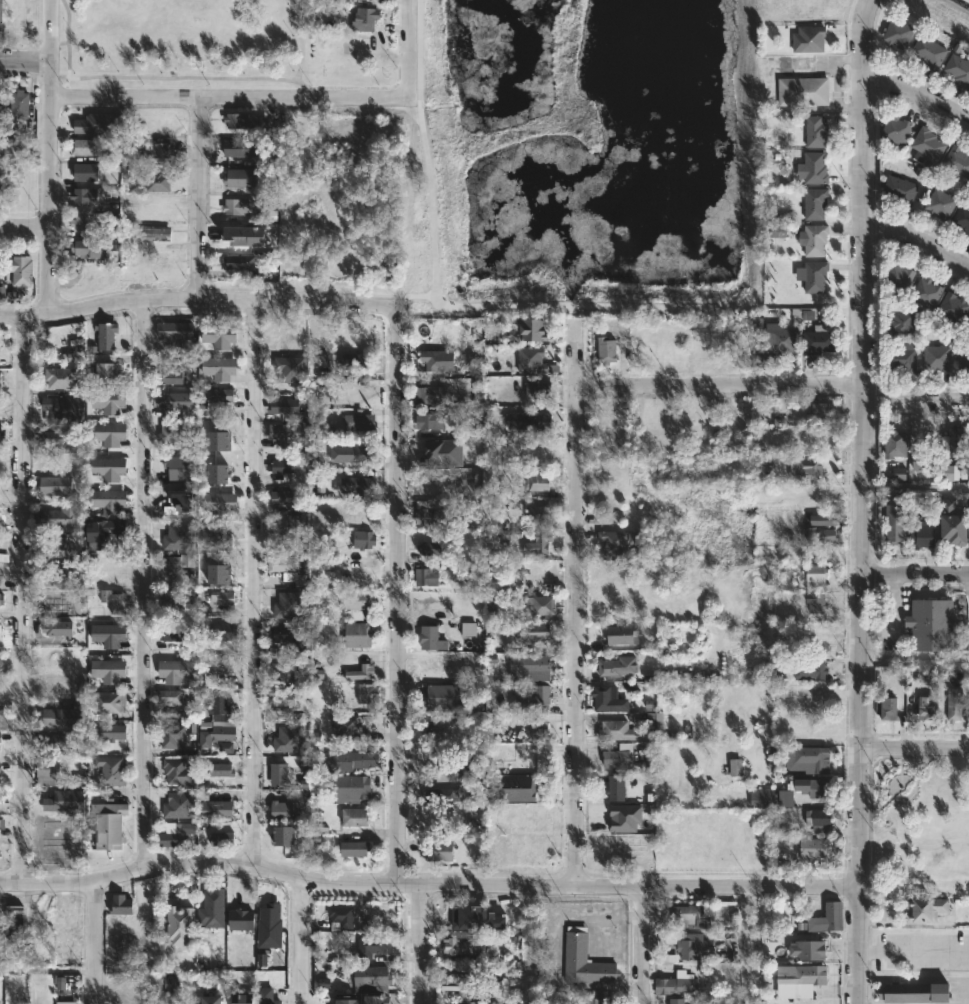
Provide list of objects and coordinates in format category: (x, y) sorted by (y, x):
building: (0, 16)
building: (17, 18)
building: (365, 18)
building: (899, 33)
building: (809, 38)
park: (187, 45)
road: (409, 48)
building: (930, 51)
road: (26, 60)
building: (959, 69)
building: (803, 91)
road: (230, 96)
road: (919, 97)
building: (19, 104)
building: (1, 110)
building: (89, 122)
building: (245, 124)
building: (897, 129)
building: (816, 131)
building: (927, 145)
building: (87, 147)
building: (241, 148)
building: (159, 151)
road: (50, 156)
building: (958, 160)
building: (813, 168)
building: (85, 172)
building: (243, 180)
building: (158, 181)
building: (901, 190)
road: (197, 197)
building: (83, 198)
building: (815, 203)
building: (940, 203)
building: (236, 206)
building: (962, 218)
building: (81, 223)
road: (24, 225)
building: (775, 230)
building: (156, 233)
building: (968, 234)
building: (244, 236)
building: (815, 239)
road: (916, 243)
building: (87, 248)
building: (238, 262)
building: (20, 270)
building: (815, 276)
building: (898, 276)
building: (927, 292)
building: (2, 294)
road: (198, 298)
building: (953, 307)
building: (807, 314)
building: (903, 320)
building: (968, 328)
building: (533, 330)
building: (175, 332)
building: (105, 335)
building: (778, 335)
building: (219, 336)
building: (819, 340)
building: (607, 351)
building: (742, 354)
building: (938, 358)
building: (901, 359)
building: (531, 360)
building: (963, 360)
building: (435, 362)
building: (354, 366)
building: (218, 368)
building: (106, 372)
building: (60, 378)
building: (170, 378)
road: (721, 385)
building: (477, 387)
building: (538, 391)
building: (221, 395)
building: (429, 397)
road: (917, 400)
building: (108, 401)
building: (175, 403)
building: (282, 406)
building: (61, 412)
building: (820, 412)
building: (613, 416)
building: (431, 420)
building: (359, 421)
building: (525, 421)
building: (221, 431)
building: (108, 434)
building: (287, 434)
building: (172, 435)
building: (56, 439)
building: (0, 444)
building: (897, 447)
building: (442, 451)
building: (953, 452)
building: (353, 453)
building: (475, 454)
building: (925, 454)
building: (180, 468)
building: (280, 468)
building: (108, 469)
building: (807, 469)
building: (898, 473)
building: (488, 478)
building: (538, 484)
building: (55, 489)
building: (357, 489)
building: (281, 497)
building: (823, 498)
building: (108, 501)
road: (864, 501)
building: (218, 502)
building: (318, 507)
building: (359, 513)
building: (537, 514)
building: (59, 516)
building: (435, 516)
building: (822, 519)
building: (955, 523)
building: (896, 524)
building: (104, 532)
building: (278, 532)
building: (825, 535)
building: (923, 535)
building: (208, 539)
building: (363, 540)
building: (53, 543)
building: (539, 543)
building: (614, 543)
building: (430, 549)
building: (177, 561)
building: (290, 569)
building: (816, 573)
road: (916, 575)
building: (61, 576)
building: (217, 576)
building: (425, 577)
road: (144, 583)
road: (255, 584)
road: (400, 594)
building: (220, 597)
building: (1, 598)
road: (25, 599)
building: (115, 600)
building: (170, 601)
building: (53, 602)
road: (576, 603)
building: (355, 604)
building: (817, 604)
building: (288, 605)
building: (540, 606)
building: (932, 625)
building: (56, 627)
building: (468, 629)
building: (534, 631)
building: (223, 632)
building: (622, 633)
building: (108, 634)
building: (289, 635)
building: (358, 635)
building: (172, 636)
building: (431, 639)
building: (533, 663)
building: (618, 665)
building: (216, 666)
building: (108, 669)
building: (805, 669)
building: (175, 670)
building: (282, 671)
building: (362, 673)
building: (367, 693)
building: (440, 695)
building: (816, 695)
building: (171, 696)
building: (605, 697)
building: (282, 698)
building: (534, 698)
building: (109, 701)
building: (955, 704)
building: (889, 707)
building: (927, 707)
building: (0, 708)
building: (0, 712)
building: (61, 716)
building: (217, 718)
building: (654, 718)
building: (432, 725)
building: (348, 728)
building: (620, 730)
building: (112, 731)
building: (536, 731)
building: (172, 735)
building: (288, 739)
building: (51, 740)
building: (224, 747)
road: (916, 748)
building: (616, 757)
building: (649, 758)
building: (806, 758)
building: (351, 759)
building: (735, 767)
building: (220, 769)
building: (110, 770)
building: (48, 771)
building: (279, 773)
road: (869, 773)
building: (171, 774)
building: (80, 780)
building: (352, 786)
building: (814, 786)
building: (616, 787)
building: (516, 788)
building: (443, 794)
building: (48, 796)
building: (772, 797)
building: (65, 801)
building: (178, 804)
building: (217, 809)
building: (285, 810)
building: (355, 816)
building: (625, 817)
building: (818, 819)
building: (48, 821)
building: (107, 825)
park: (920, 825)
building: (0, 826)
building: (178, 835)
building: (285, 835)
building: (222, 838)
building: (539, 838)
road: (916, 843)
building: (806, 845)
building: (355, 847)
building: (438, 850)
building: (613, 858)
building: (44, 862)
road: (429, 884)
building: (121, 903)
building: (925, 908)
building: (211, 909)
building: (341, 915)
building: (61, 916)
building: (688, 916)
building: (241, 918)
building: (826, 918)
building: (11, 919)
building: (268, 920)
building: (489, 920)
building: (181, 927)
road: (300, 941)
road: (92, 942)
road: (423, 943)
building: (689, 944)
road: (642, 945)
building: (461, 946)
building: (370, 947)
building: (808, 949)
building: (67, 950)
road: (552, 950)
road: (915, 951)
building: (262, 959)
building: (585, 960)
building: (376, 975)
building: (461, 979)
road: (925, 980)
building: (801, 981)
building: (676, 985)
building: (914, 992)
building: (266, 996)
building: (172, 997)
building: (242, 998)
building: (211, 999)
building: (597, 999)
building: (677, 1001)

